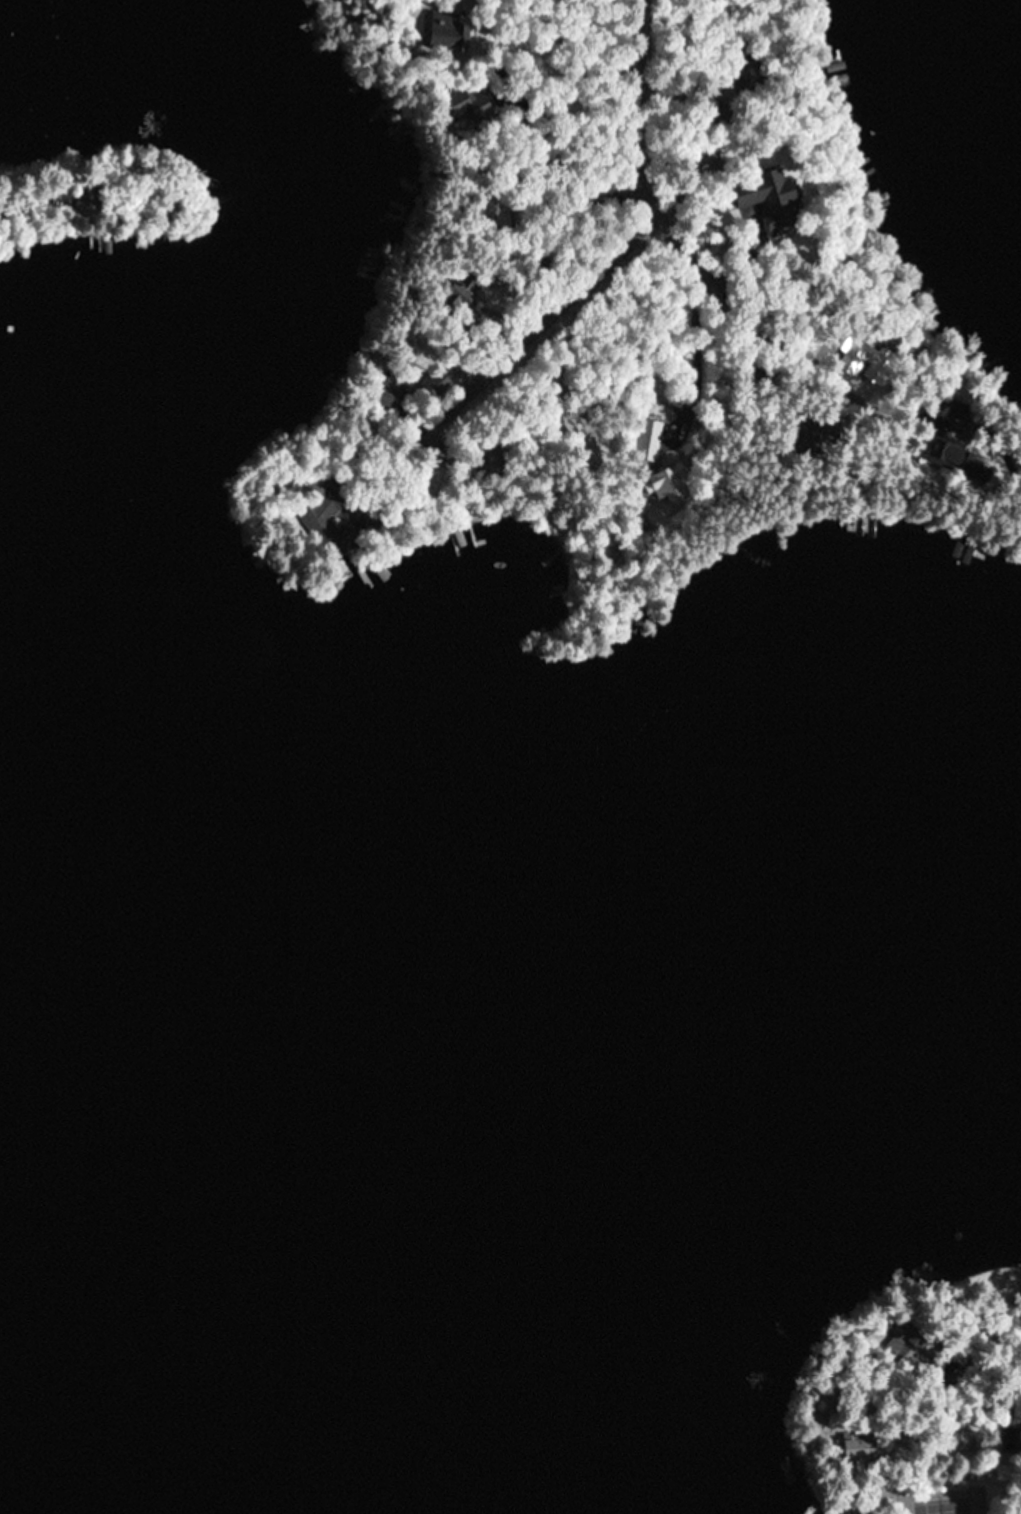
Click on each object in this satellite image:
building: (448, 33)
river: (221, 98)
road: (632, 103)
building: (461, 107)
building: (773, 198)
road: (550, 300)
road: (744, 316)
building: (438, 383)
building: (391, 398)
river: (107, 416)
building: (649, 440)
building: (953, 456)
building: (673, 483)
building: (327, 517)
river: (592, 1151)
river: (38, 1163)
river: (44, 1230)
building: (910, 1339)
building: (964, 1431)
building: (860, 1436)
building: (840, 1508)

